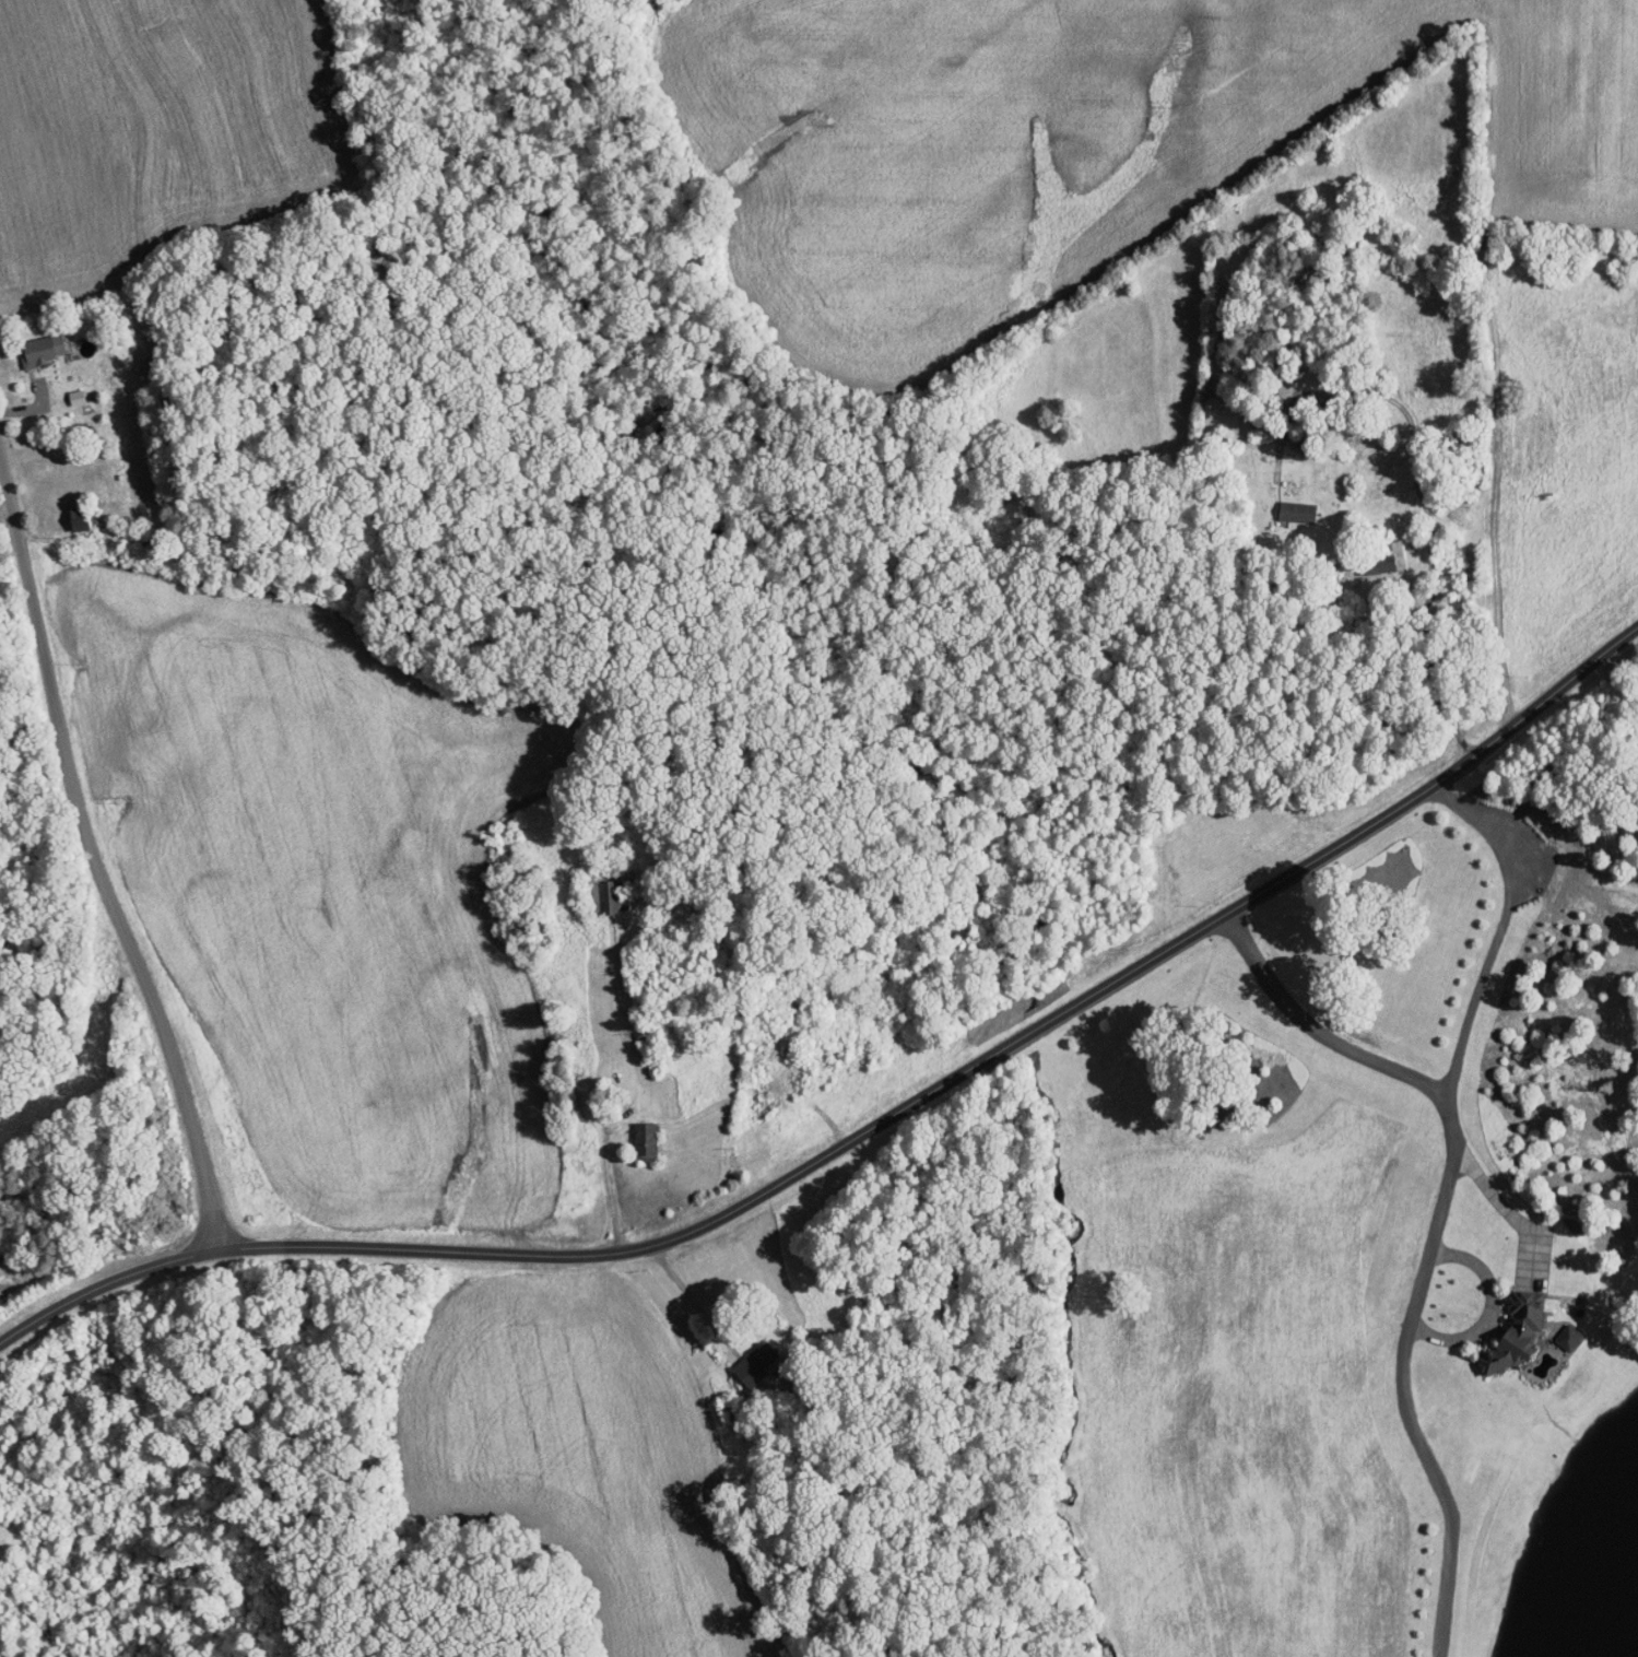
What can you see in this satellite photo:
building: (39, 349)
building: (74, 397)
road: (1415, 475)
building: (75, 520)
building: (1397, 554)
road: (101, 850)
building: (608, 896)
road: (1457, 1063)
road: (868, 1130)
building: (648, 1139)
road: (608, 1183)
road: (1509, 1214)
road: (1493, 1312)
building: (1518, 1335)
building: (1571, 1339)
building: (758, 1365)
road: (1402, 1373)

